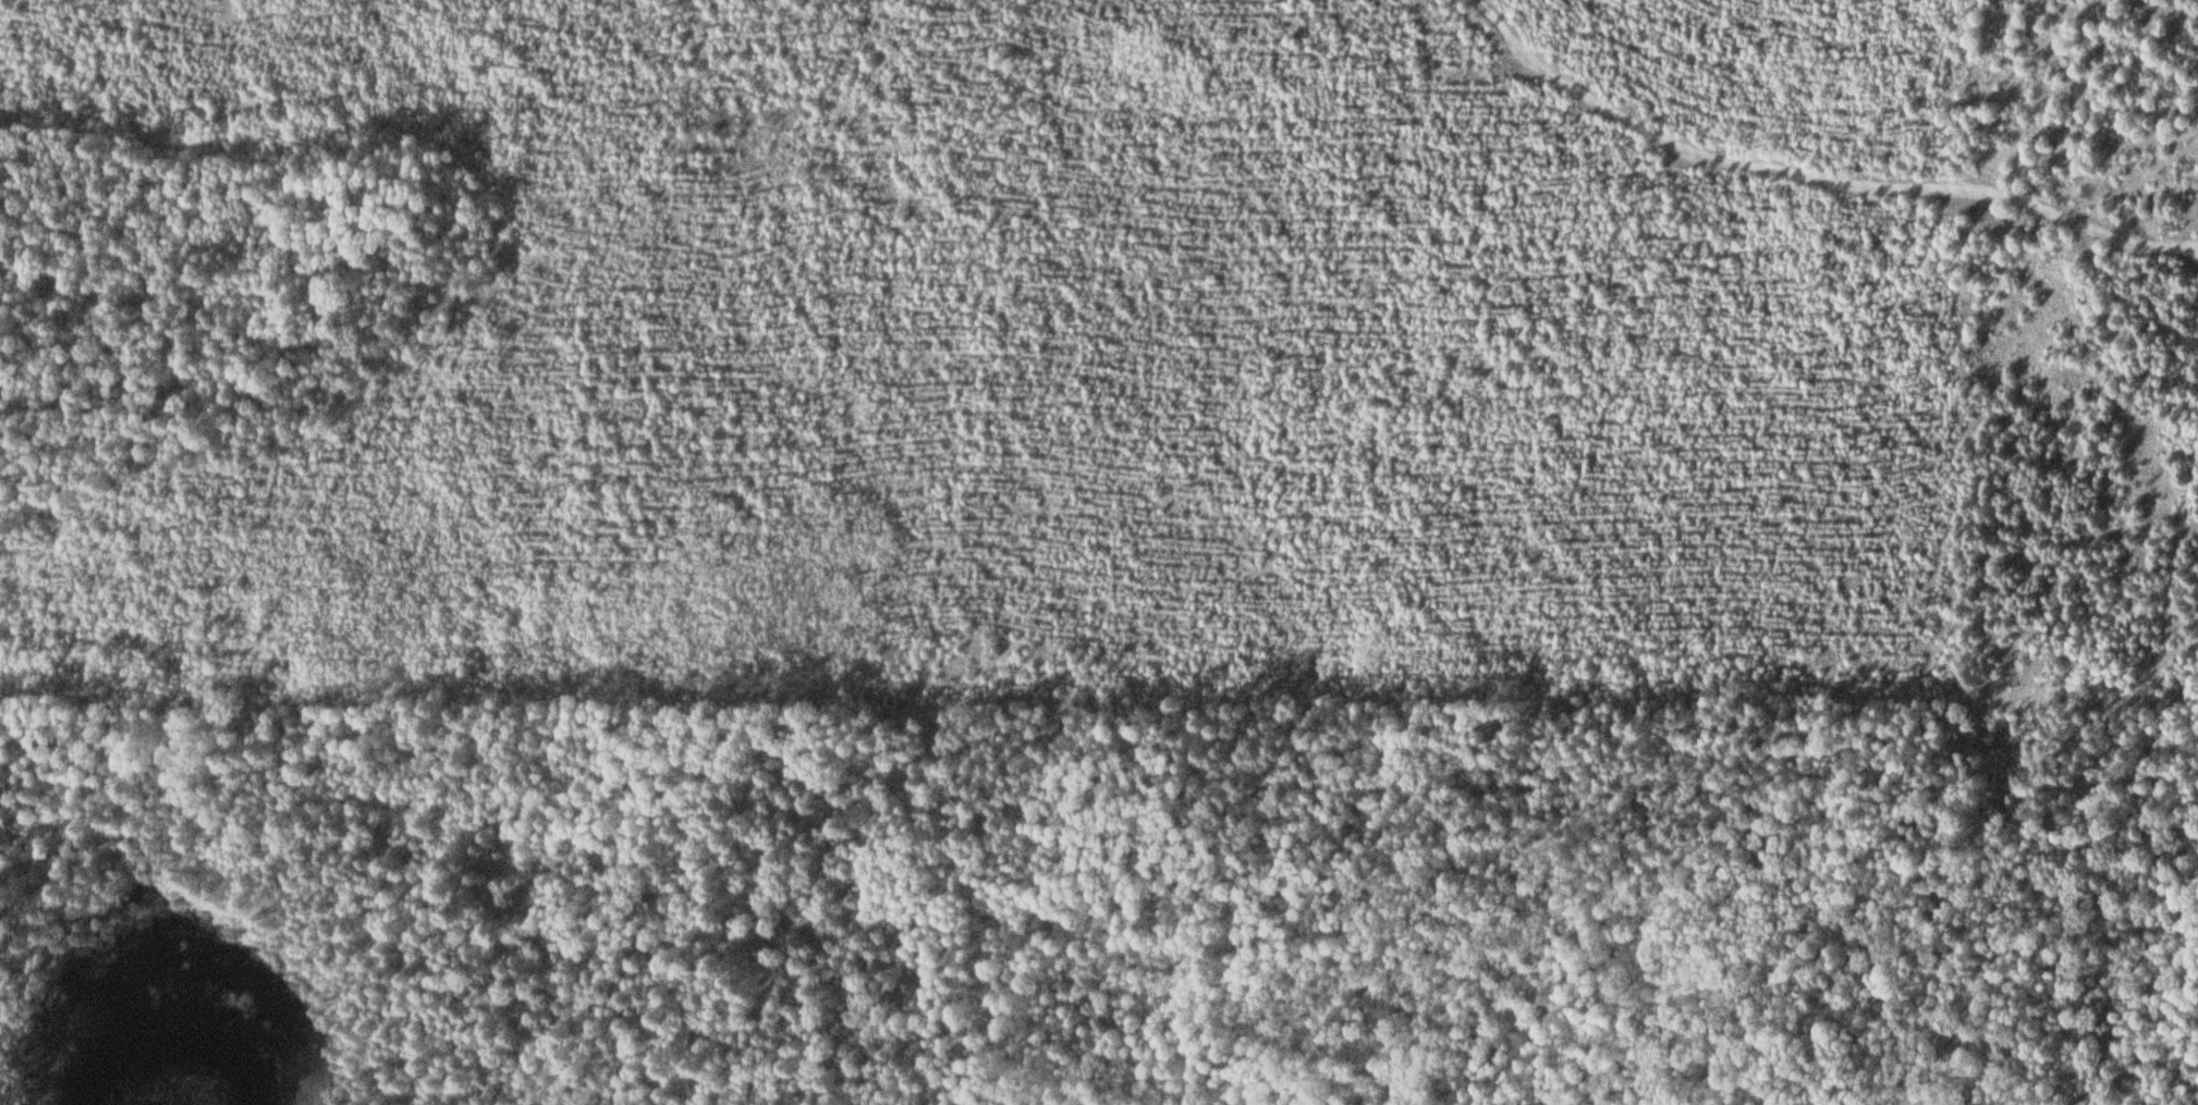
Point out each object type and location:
road: (1809, 171)

